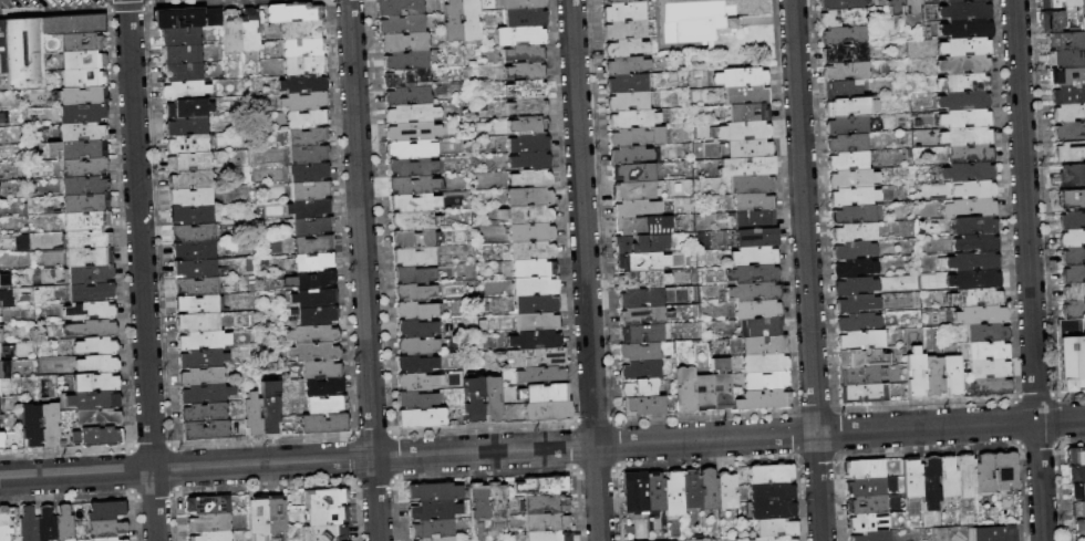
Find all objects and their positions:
building: (621, 1)
building: (961, 1)
building: (1071, 3)
building: (518, 4)
building: (839, 4)
building: (1050, 4)
building: (892, 6)
building: (910, 6)
building: (395, 7)
building: (965, 11)
building: (292, 12)
building: (623, 12)
building: (211, 15)
building: (524, 17)
building: (841, 17)
building: (177, 18)
building: (701, 18)
building: (468, 20)
building: (451, 21)
building: (1051, 21)
building: (72, 24)
building: (397, 24)
building: (249, 29)
building: (302, 29)
building: (626, 29)
building: (965, 29)
building: (231, 31)
building: (520, 34)
building: (183, 35)
building: (843, 35)
building: (1064, 41)
building: (83, 42)
building: (399, 42)
building: (302, 46)
building: (626, 46)
building: (2, 48)
building: (965, 48)
building: (524, 52)
building: (184, 53)
building: (843, 53)
building: (23, 54)
building: (83, 59)
building: (1067, 59)
building: (403, 60)
building: (303, 64)
building: (627, 64)
building: (963, 64)
building: (525, 70)
building: (185, 71)
building: (844, 71)
building: (738, 76)
building: (84, 77)
building: (404, 77)
building: (628, 82)
building: (963, 82)
building: (304, 83)
building: (1067, 85)
building: (186, 89)
building: (526, 89)
building: (845, 89)
building: (745, 94)
building: (406, 95)
building: (83, 96)
building: (627, 100)
building: (306, 101)
building: (965, 101)
building: (526, 106)
building: (188, 107)
building: (845, 107)
building: (870, 111)
building: (747, 112)
building: (83, 113)
building: (411, 113)
building: (1067, 113)
building: (307, 117)
building: (629, 117)
building: (963, 118)
building: (189, 124)
building: (524, 124)
building: (846, 125)
building: (746, 129)
building: (412, 131)
building: (1068, 131)
building: (82, 132)
building: (308, 135)
building: (634, 135)
building: (964, 136)
building: (190, 142)
building: (527, 142)
building: (847, 144)
building: (747, 147)
building: (410, 148)
building: (83, 149)
building: (1069, 152)
building: (309, 154)
building: (631, 154)
building: (968, 154)
building: (528, 160)
building: (192, 162)
building: (846, 162)
building: (411, 166)
building: (745, 166)
building: (83, 167)
building: (310, 171)
building: (632, 173)
building: (968, 173)
building: (1072, 176)
building: (529, 178)
building: (848, 178)
building: (193, 179)
building: (84, 184)
building: (412, 185)
building: (751, 185)
building: (311, 189)
building: (633, 190)
building: (969, 190)
building: (527, 196)
building: (195, 197)
building: (849, 197)
building: (1071, 198)
building: (85, 201)
building: (412, 201)
building: (752, 202)
building: (634, 207)
building: (312, 208)
building: (970, 208)
building: (528, 214)
building: (194, 215)
building: (849, 216)
building: (753, 219)
building: (86, 220)
building: (413, 220)
building: (1071, 221)
building: (312, 225)
building: (635, 225)
building: (971, 226)
building: (528, 231)
building: (192, 232)
building: (851, 233)
building: (413, 237)
building: (87, 238)
building: (753, 238)
building: (1072, 239)
building: (659, 242)
building: (312, 243)
building: (973, 243)
building: (629, 245)
building: (531, 249)
building: (193, 250)
building: (851, 251)
building: (87, 256)
building: (755, 256)
building: (414, 257)
building: (1072, 257)
building: (641, 261)
building: (974, 261)
building: (313, 262)
building: (194, 267)
building: (533, 268)
building: (852, 269)
road: (141, 270)
road: (362, 270)
road: (585, 270)
road: (806, 270)
road: (1027, 270)
building: (89, 273)
building: (755, 273)
building: (1072, 274)
building: (414, 275)
building: (642, 279)
building: (3, 280)
building: (314, 280)
building: (974, 280)
building: (194, 284)
building: (533, 285)
building: (854, 287)
building: (752, 291)
building: (90, 292)
building: (1072, 292)
building: (415, 293)
building: (316, 296)
building: (975, 296)
building: (3, 298)
building: (641, 298)
building: (196, 304)
building: (534, 304)
building: (855, 304)
building: (755, 310)
building: (91, 311)
building: (416, 311)
building: (1073, 311)
building: (978, 314)
building: (317, 315)
building: (642, 315)
building: (197, 322)
building: (537, 322)
building: (856, 323)
building: (758, 326)
building: (91, 329)
building: (417, 329)
building: (313, 333)
building: (642, 333)
building: (984, 333)
building: (198, 340)
building: (537, 340)
building: (857, 342)
building: (94, 344)
building: (759, 344)
building: (418, 346)
building: (312, 352)
building: (641, 352)
building: (985, 352)
building: (199, 357)
building: (1084, 357)
building: (534, 358)
building: (858, 361)
building: (762, 362)
building: (96, 363)
building: (418, 364)
building: (1073, 364)
building: (322, 370)
building: (642, 370)
building: (986, 370)
building: (0, 373)
building: (200, 376)
building: (539, 376)
building: (931, 376)
building: (950, 376)
building: (859, 377)
building: (913, 377)
building: (764, 379)
building: (420, 382)
building: (95, 383)
building: (988, 386)
building: (323, 387)
building: (0, 388)
building: (643, 388)
building: (683, 389)
building: (720, 392)
building: (702, 393)
building: (201, 394)
building: (859, 394)
building: (542, 395)
road: (1069, 395)
road: (1034, 397)
building: (418, 399)
building: (764, 399)
building: (95, 400)
building: (473, 400)
building: (492, 400)
building: (1, 405)
building: (327, 405)
building: (644, 407)
building: (203, 412)
building: (259, 414)
building: (546, 414)
building: (421, 417)
building: (95, 418)
road: (1055, 418)
road: (1016, 422)
building: (322, 424)
building: (49, 425)
building: (31, 426)
building: (204, 430)
building: (95, 437)
building: (0, 440)
road: (1071, 441)
road: (1037, 444)
road: (542, 448)
building: (1075, 456)
building: (862, 470)
building: (769, 471)
building: (1003, 471)
building: (1075, 474)
building: (982, 476)
building: (964, 478)
building: (910, 479)
building: (947, 480)
building: (929, 481)
building: (539, 482)
building: (707, 486)
building: (690, 487)
building: (725, 487)
building: (864, 487)
building: (433, 488)
building: (769, 488)
building: (633, 490)
building: (654, 491)
road: (1060, 491)
building: (1078, 492)
building: (672, 493)
road: (1021, 493)
building: (324, 495)
building: (496, 499)
building: (478, 500)
building: (545, 500)
building: (208, 502)
building: (866, 504)
building: (434, 506)
building: (771, 507)
building: (105, 509)
building: (1078, 509)
building: (275, 512)
building: (327, 512)
building: (2, 513)
building: (257, 513)
building: (546, 518)
building: (208, 520)
building: (44, 522)
building: (62, 522)
building: (774, 523)
building: (867, 523)
building: (27, 524)
building: (430, 524)
building: (106, 526)
building: (1078, 528)
building: (3, 530)
building: (325, 531)
building: (547, 533)
building: (992, 533)
building: (209, 534)
building: (106, 537)
building: (431, 537)
building: (767, 537)
building: (868, 537)
building: (1079, 539)
building: (3, 540)
building: (339, 540)
building: (661, 540)

